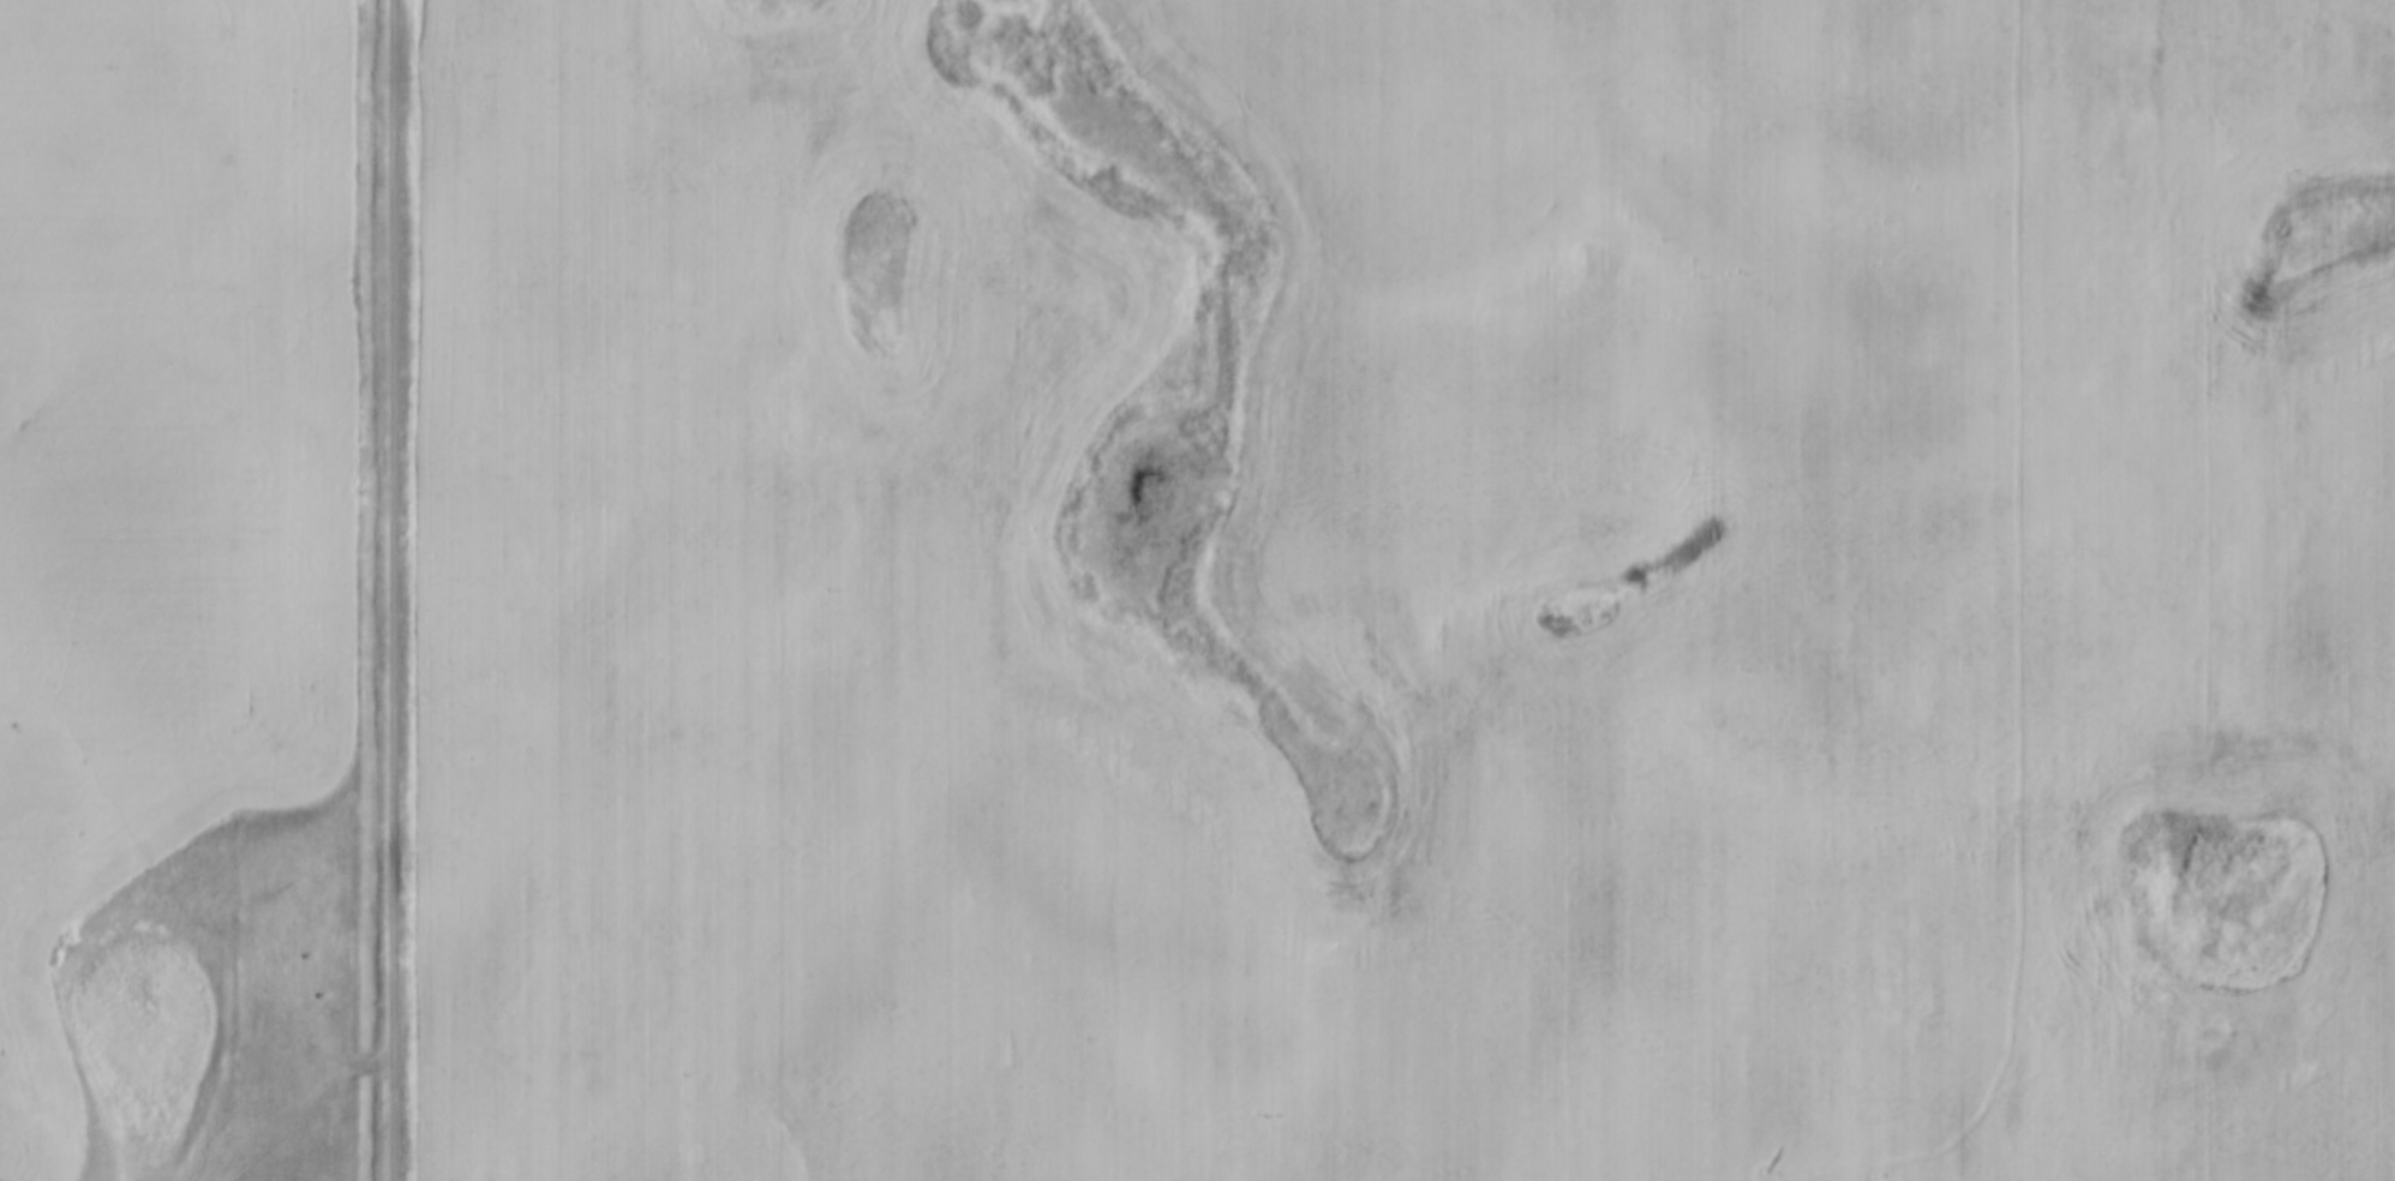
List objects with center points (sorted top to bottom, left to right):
road: (395, 590)
wind turbine: (1756, 1165)

